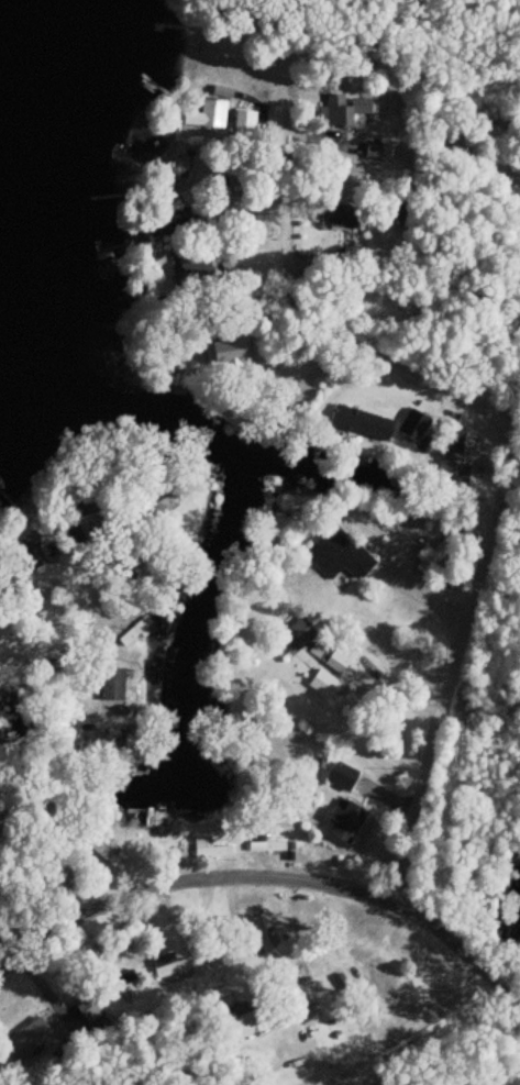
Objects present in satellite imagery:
park: (460, 35)
building: (346, 111)
building: (215, 114)
building: (245, 120)
building: (169, 168)
building: (176, 222)
building: (452, 457)
road: (495, 464)
road: (54, 731)
building: (347, 823)
building: (267, 846)
building: (208, 850)
road: (180, 851)
road: (455, 926)
building: (88, 1008)
road: (362, 1019)
building: (29, 1038)
road: (276, 1080)

